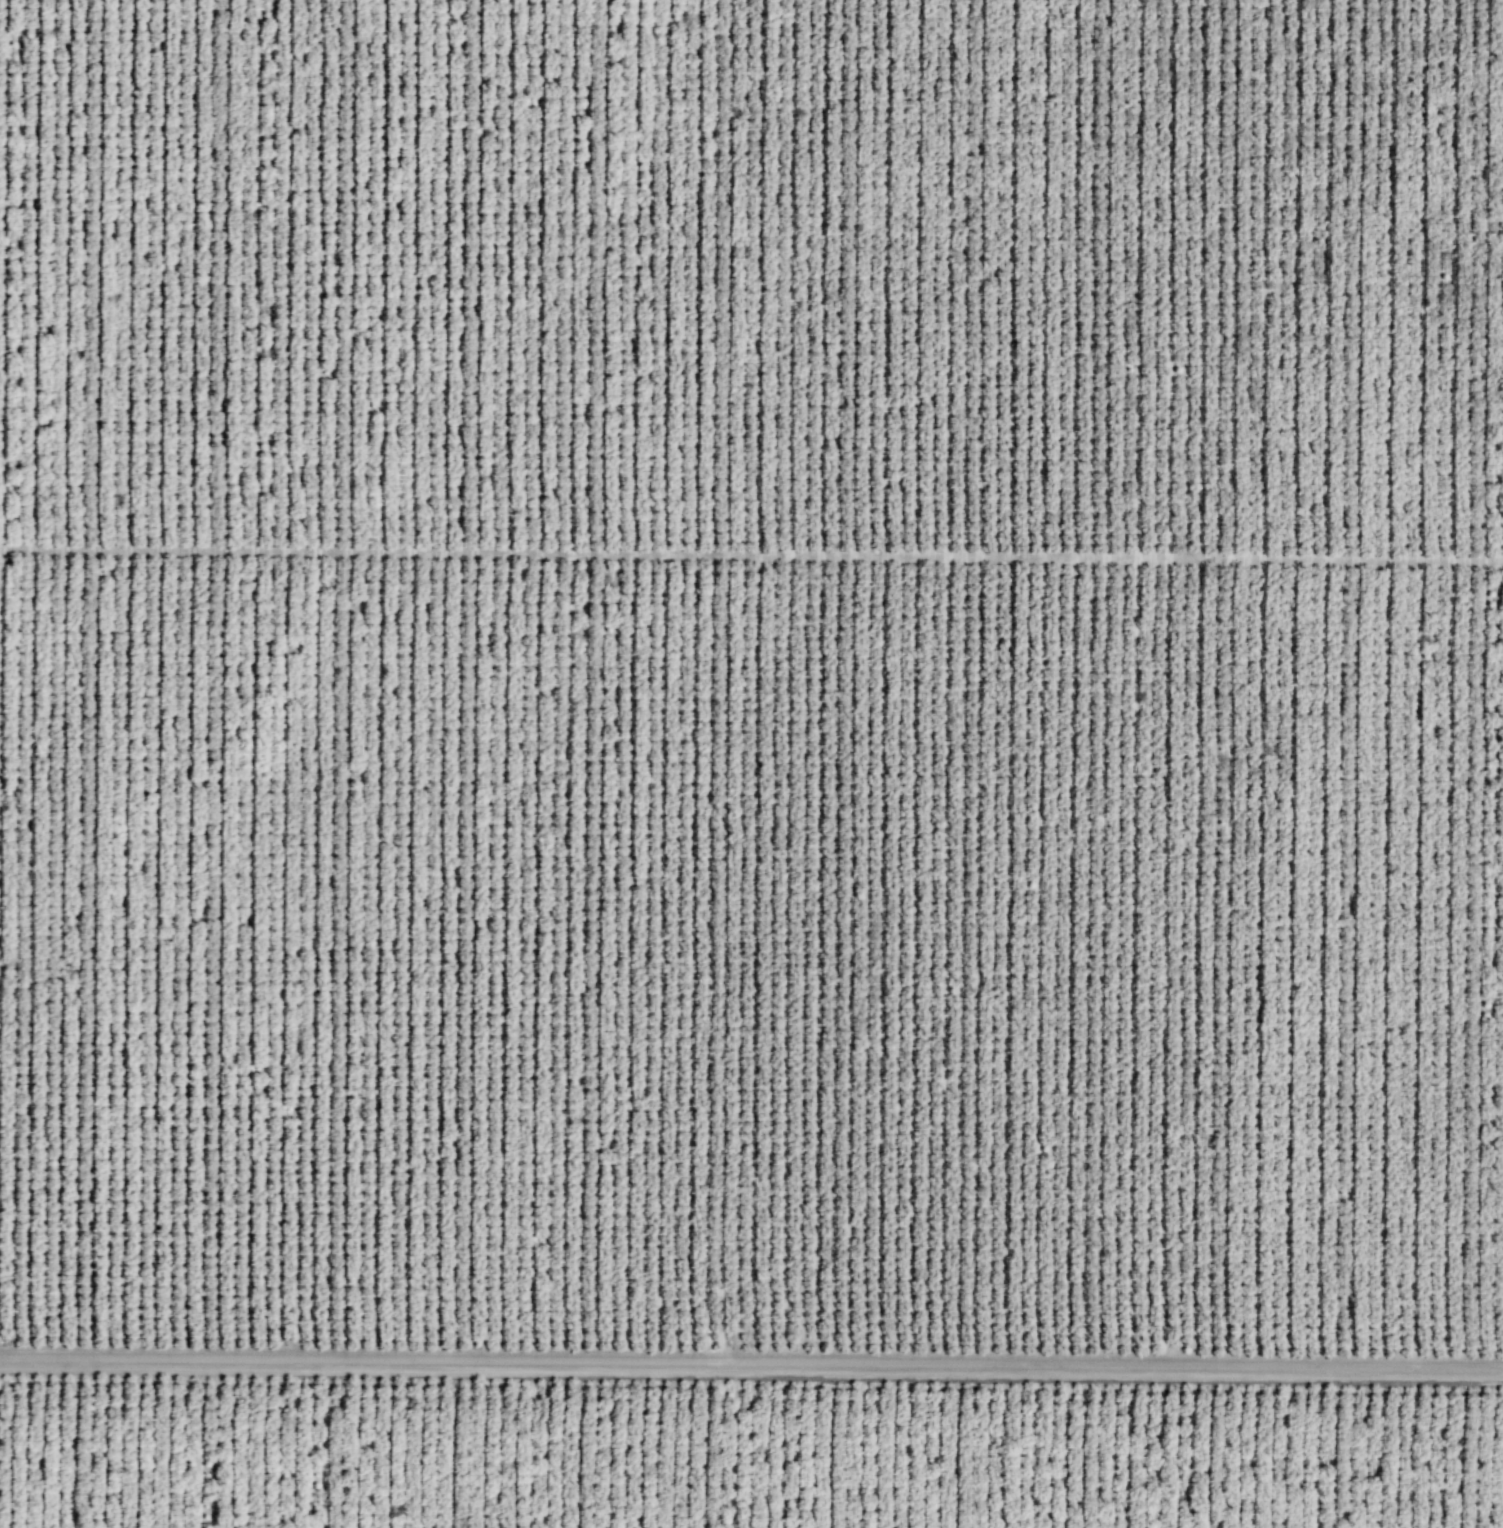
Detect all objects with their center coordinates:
road: (751, 552)
road: (751, 1362)

